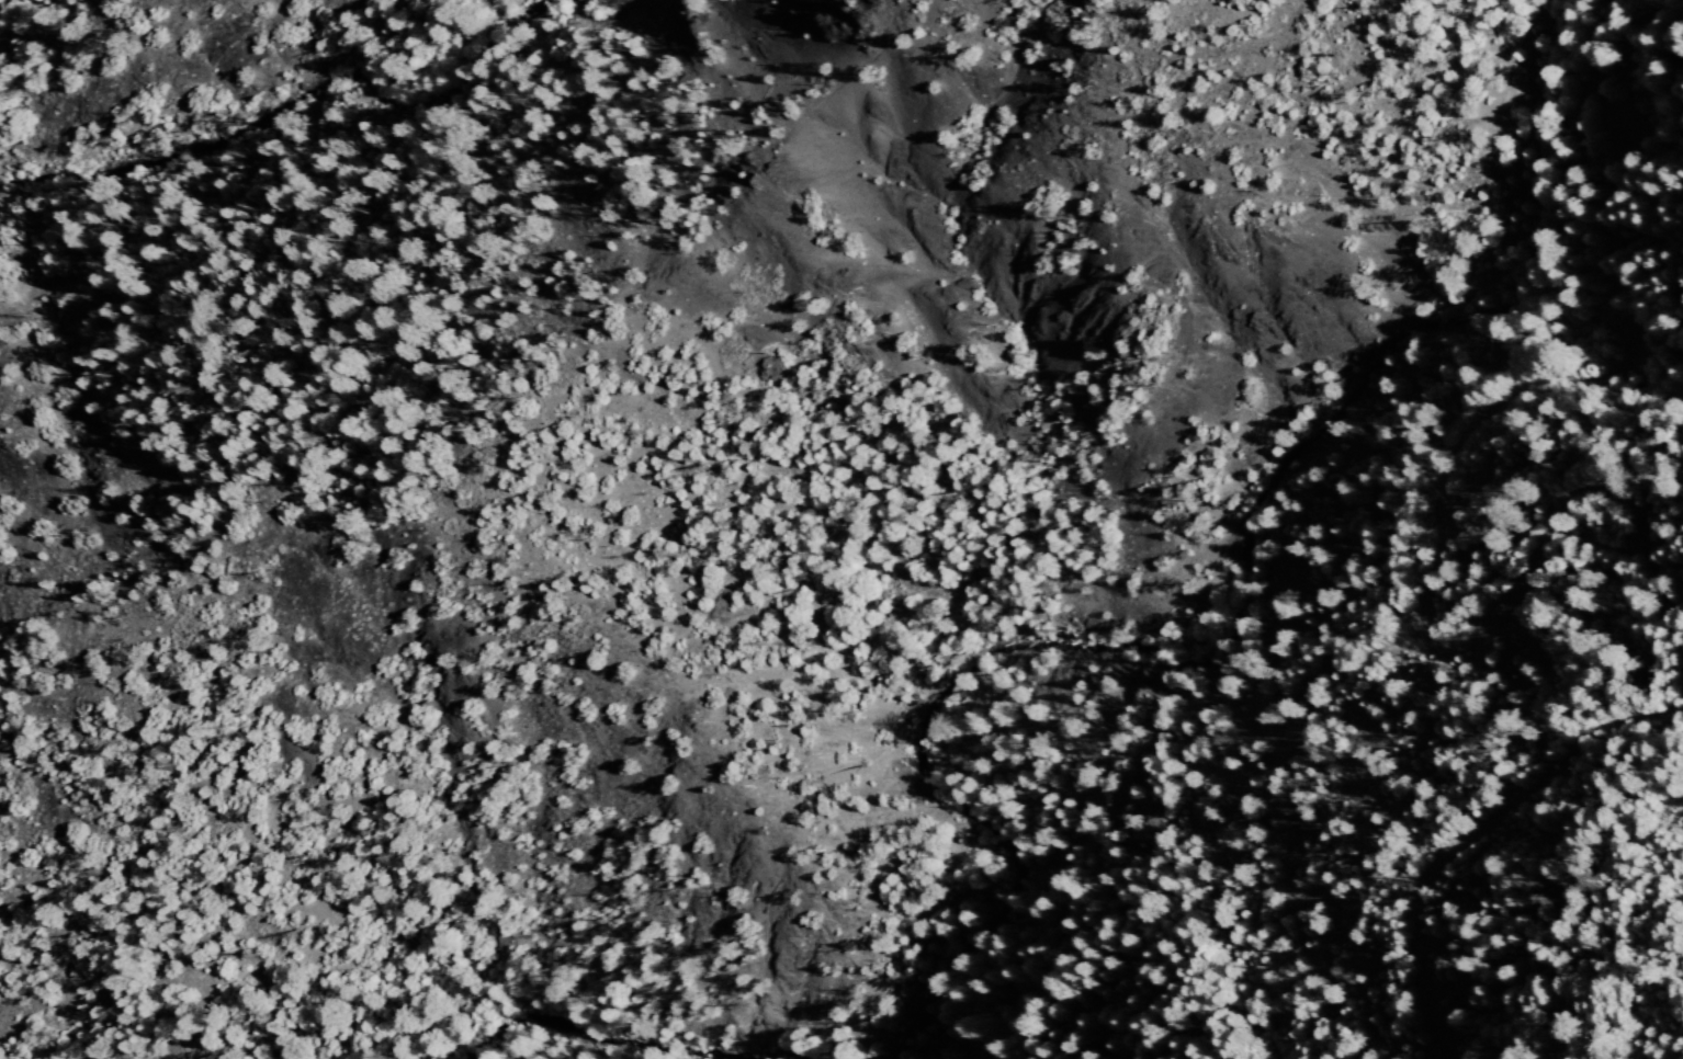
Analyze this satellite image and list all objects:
road: (1593, 57)
road: (1521, 589)

